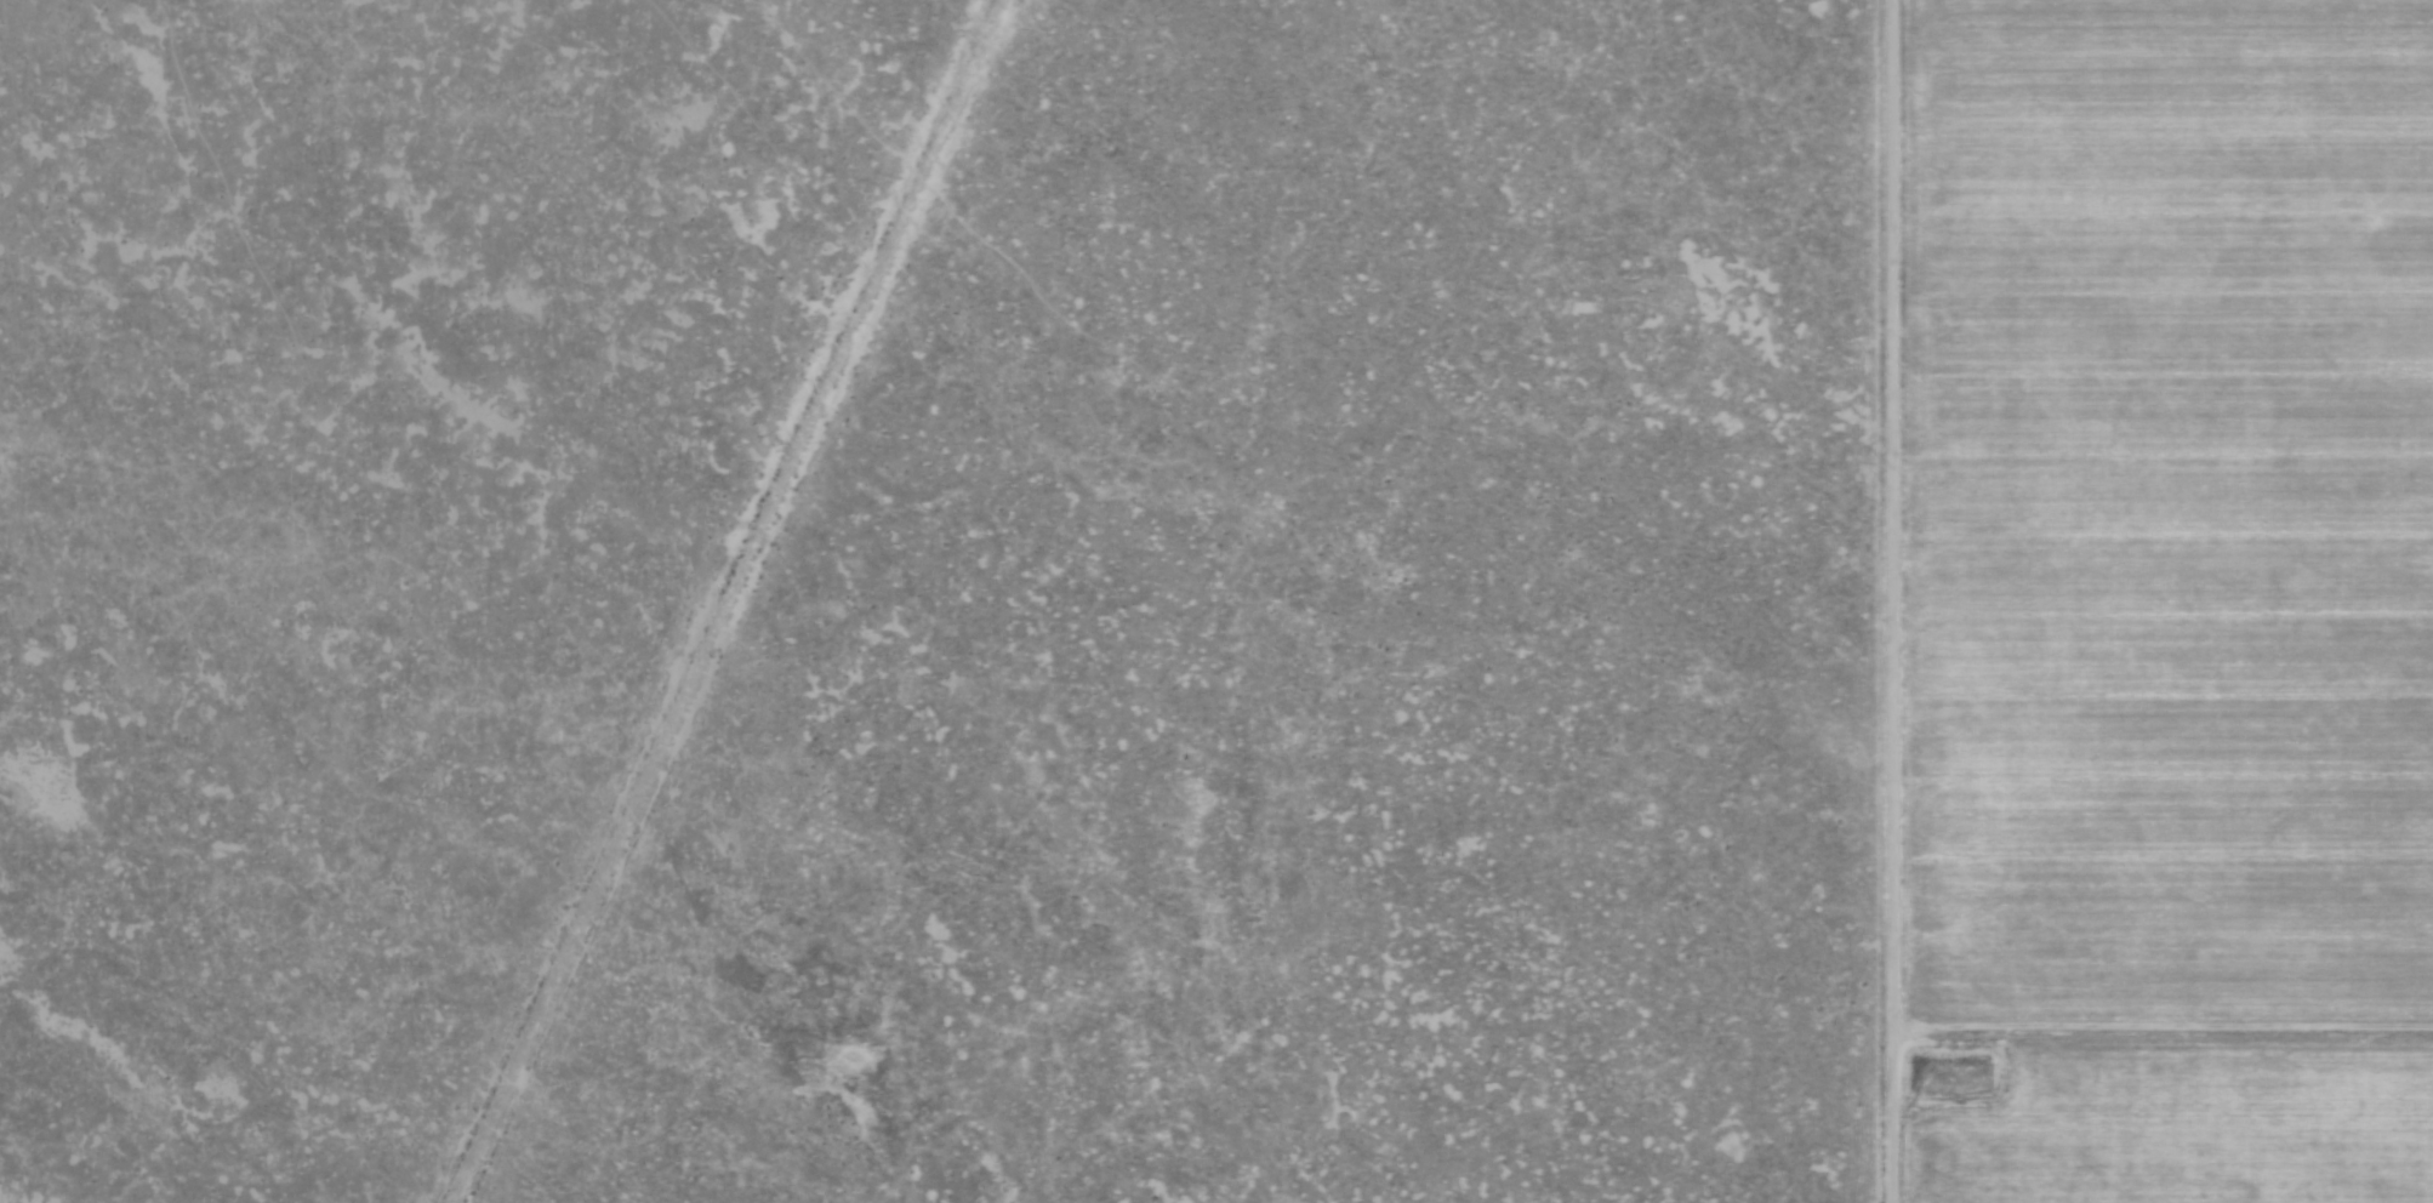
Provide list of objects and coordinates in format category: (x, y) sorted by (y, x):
crop: (2166, 512)
road: (1887, 600)
road: (2160, 1031)
crop: (2188, 1124)

